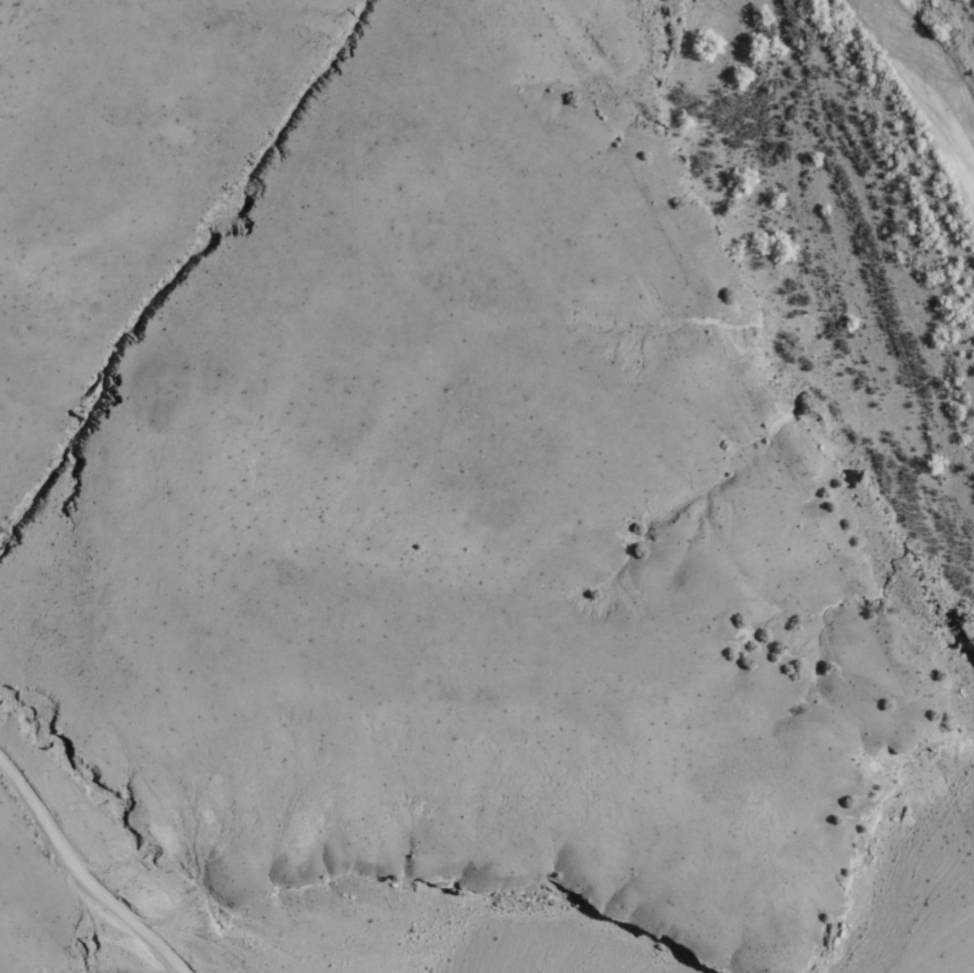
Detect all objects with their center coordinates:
river: (925, 75)
road: (83, 877)

